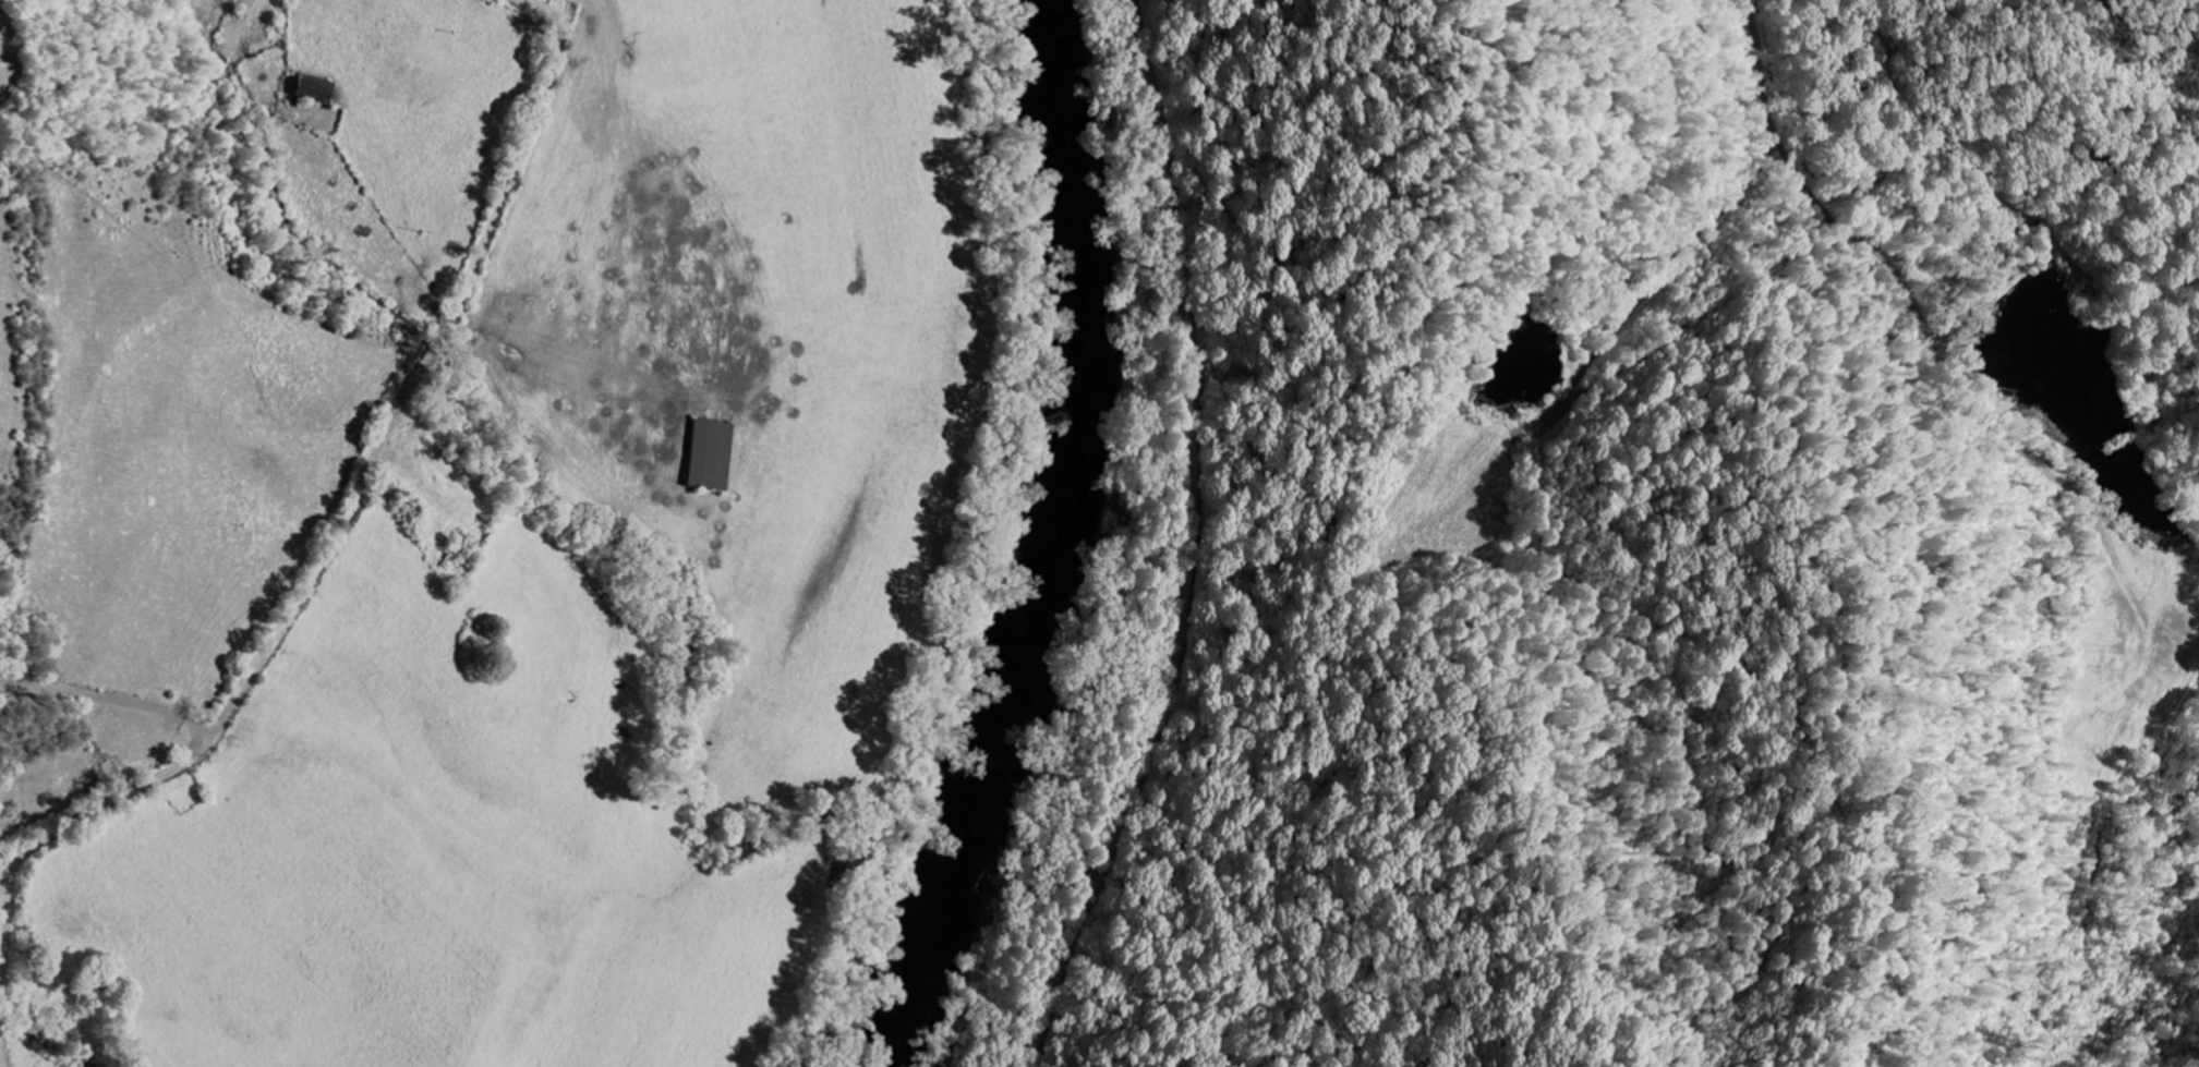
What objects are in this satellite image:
building: (311, 89)
building: (708, 454)
river: (1048, 542)
road: (334, 544)
road: (1203, 544)
road: (2, 1048)

